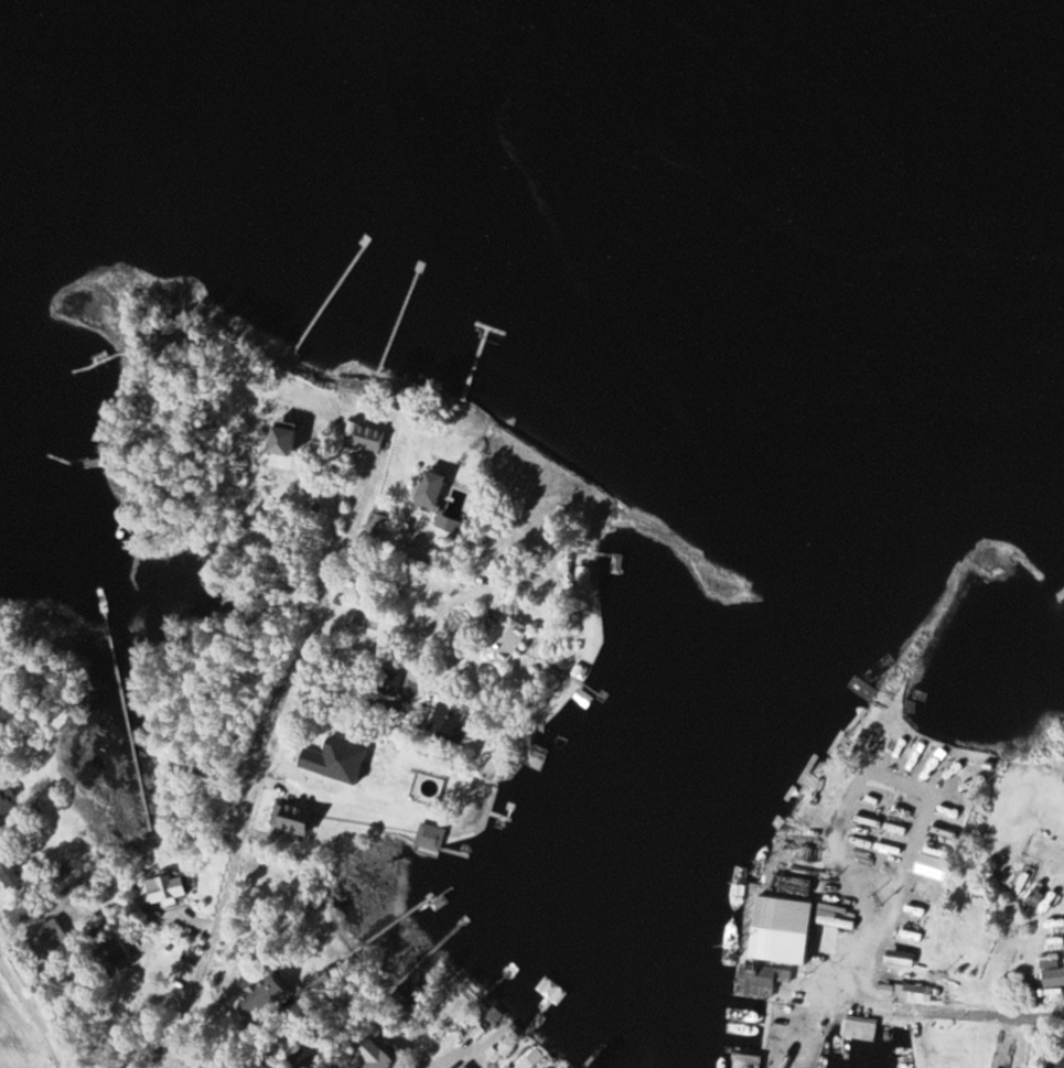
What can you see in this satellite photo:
building: (281, 444)
road: (249, 479)
building: (427, 492)
building: (375, 526)
road: (351, 535)
building: (583, 575)
building: (503, 639)
building: (385, 682)
building: (448, 722)
road: (244, 798)
building: (7, 806)
building: (289, 818)
building: (428, 837)
building: (11, 871)
building: (163, 888)
building: (45, 934)
building: (111, 958)
building: (261, 992)
building: (915, 993)
road: (35, 1015)
road: (991, 1017)
building: (859, 1028)
building: (374, 1055)
building: (1058, 1056)

